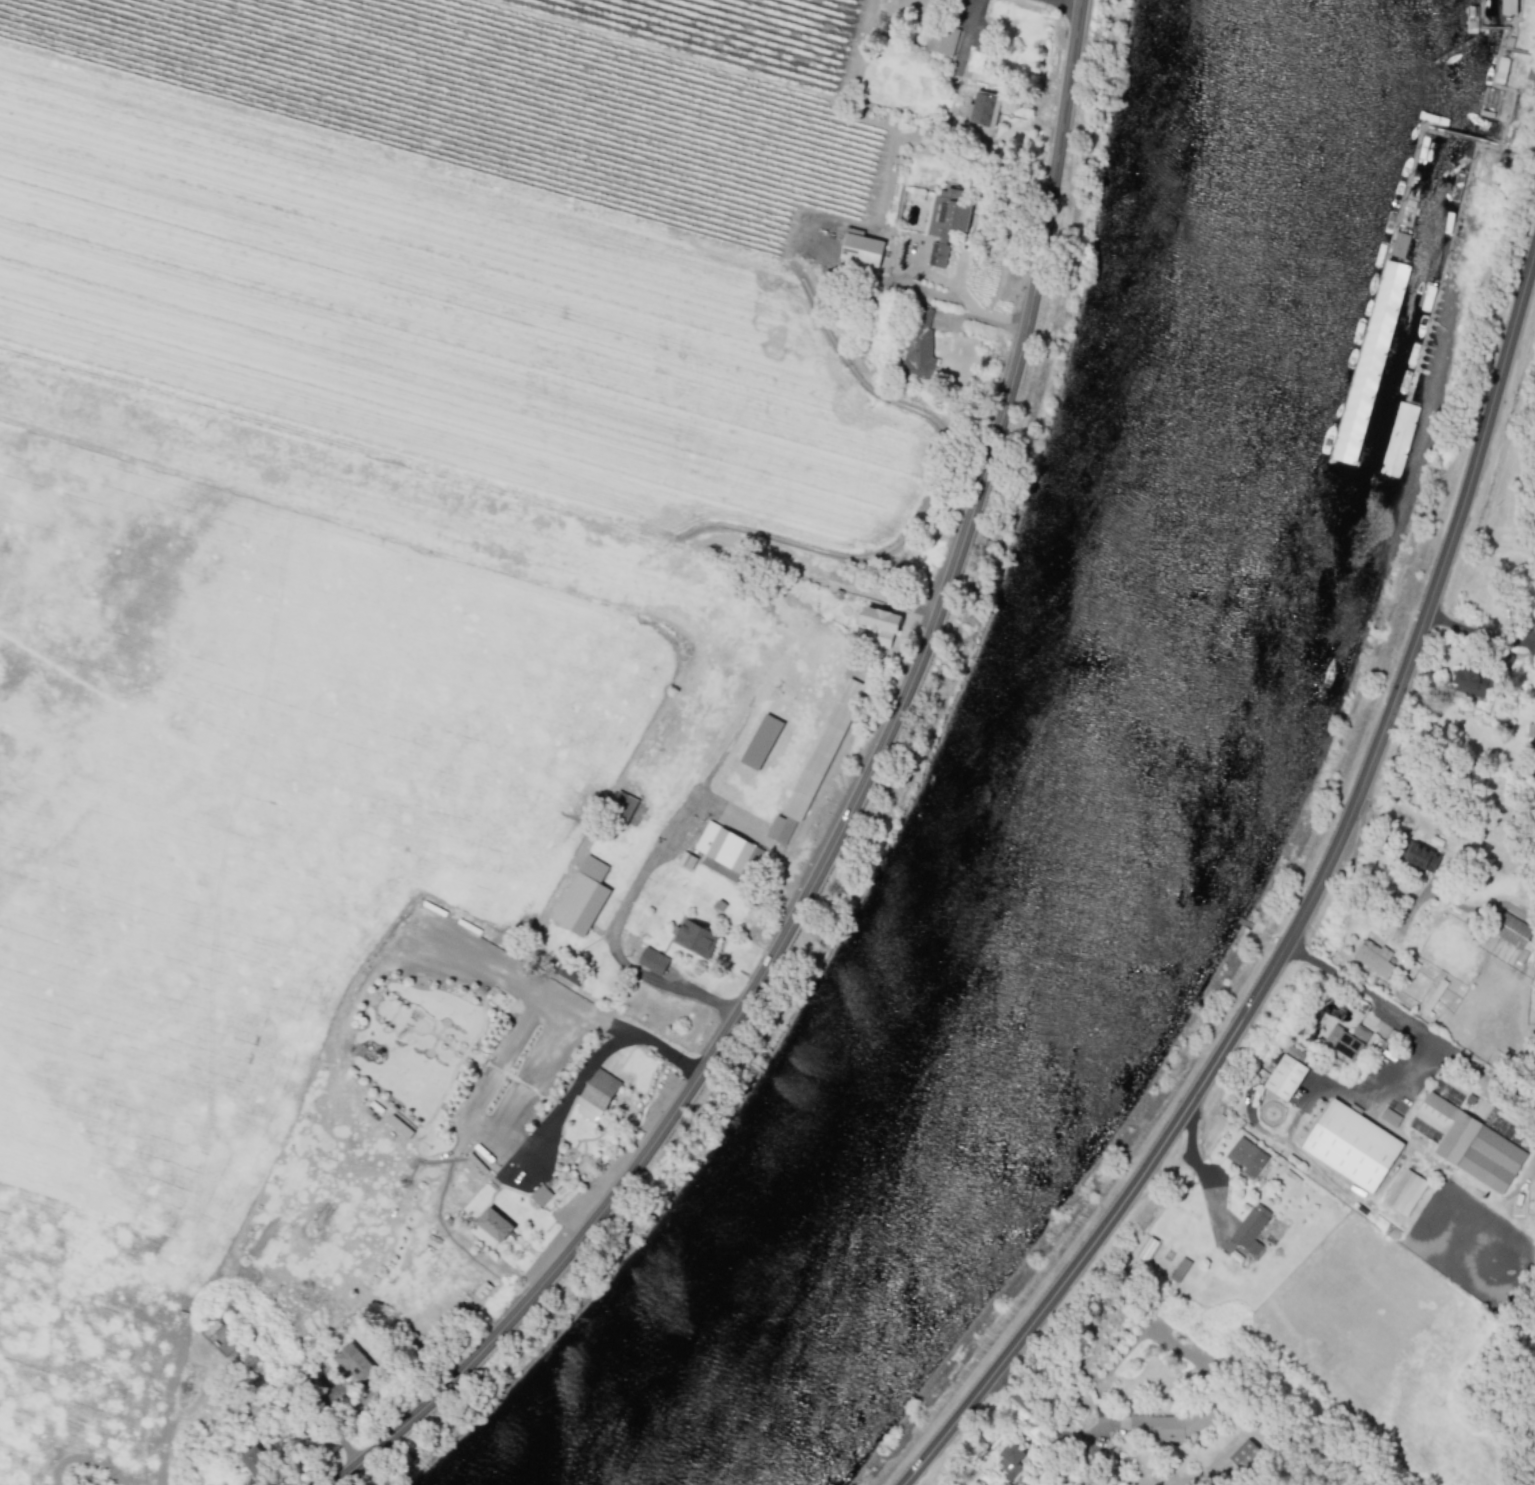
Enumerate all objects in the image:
road: (1072, 2)
building: (942, 39)
building: (1531, 70)
building: (983, 108)
building: (944, 221)
building: (1398, 245)
building: (861, 249)
road: (967, 305)
building: (918, 343)
building: (1368, 361)
airport runway: (336, 483)
building: (881, 619)
road: (1471, 628)
building: (1471, 680)
building: (764, 744)
building: (656, 748)
airport: (750, 749)
building: (827, 751)
river: (1115, 805)
building: (624, 806)
road: (851, 815)
building: (780, 828)
building: (738, 853)
building: (1423, 856)
building: (687, 860)
building: (583, 905)
road: (1303, 912)
building: (1510, 929)
building: (696, 937)
road: (616, 952)
building: (1374, 957)
building: (652, 960)
road: (497, 965)
road: (1388, 1004)
building: (1352, 1036)
building: (1284, 1076)
building: (597, 1093)
building: (1390, 1116)
building: (400, 1124)
road: (488, 1129)
building: (1471, 1144)
building: (1351, 1145)
building: (1247, 1156)
road: (1199, 1170)
building: (1405, 1191)
building: (540, 1194)
building: (494, 1223)
building: (1250, 1228)
building: (352, 1362)
road: (1039, 1417)
building: (1166, 1424)
building: (1009, 1460)
building: (254, 1461)

